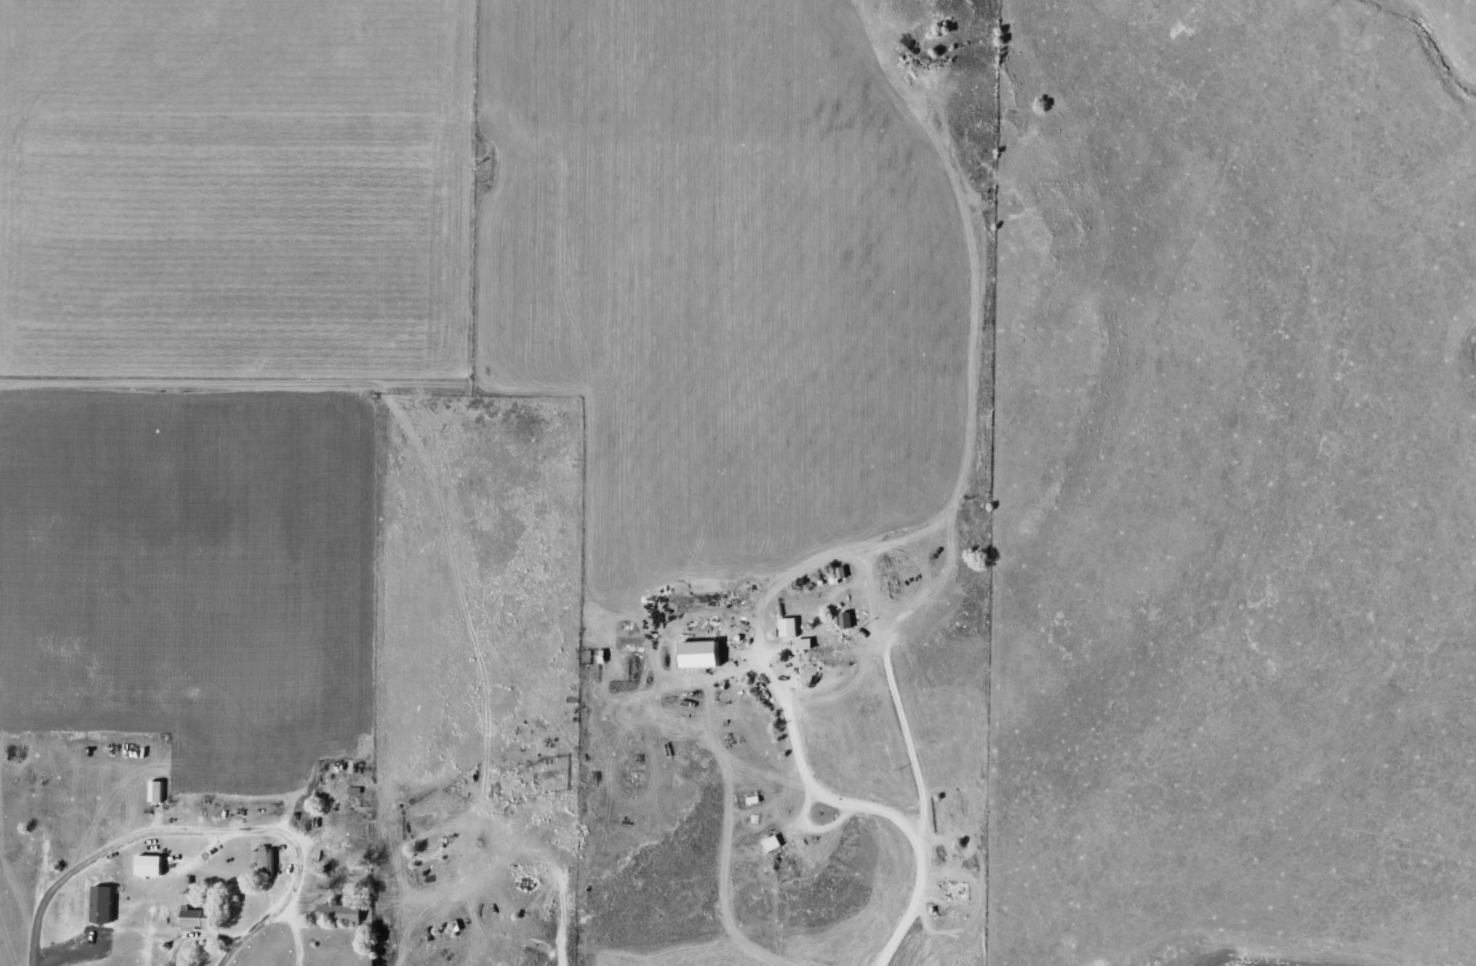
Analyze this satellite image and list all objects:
road: (504, 513)
building: (792, 628)
building: (823, 653)
building: (704, 654)
building: (776, 844)
building: (153, 866)
building: (106, 905)
building: (344, 914)
building: (198, 919)

